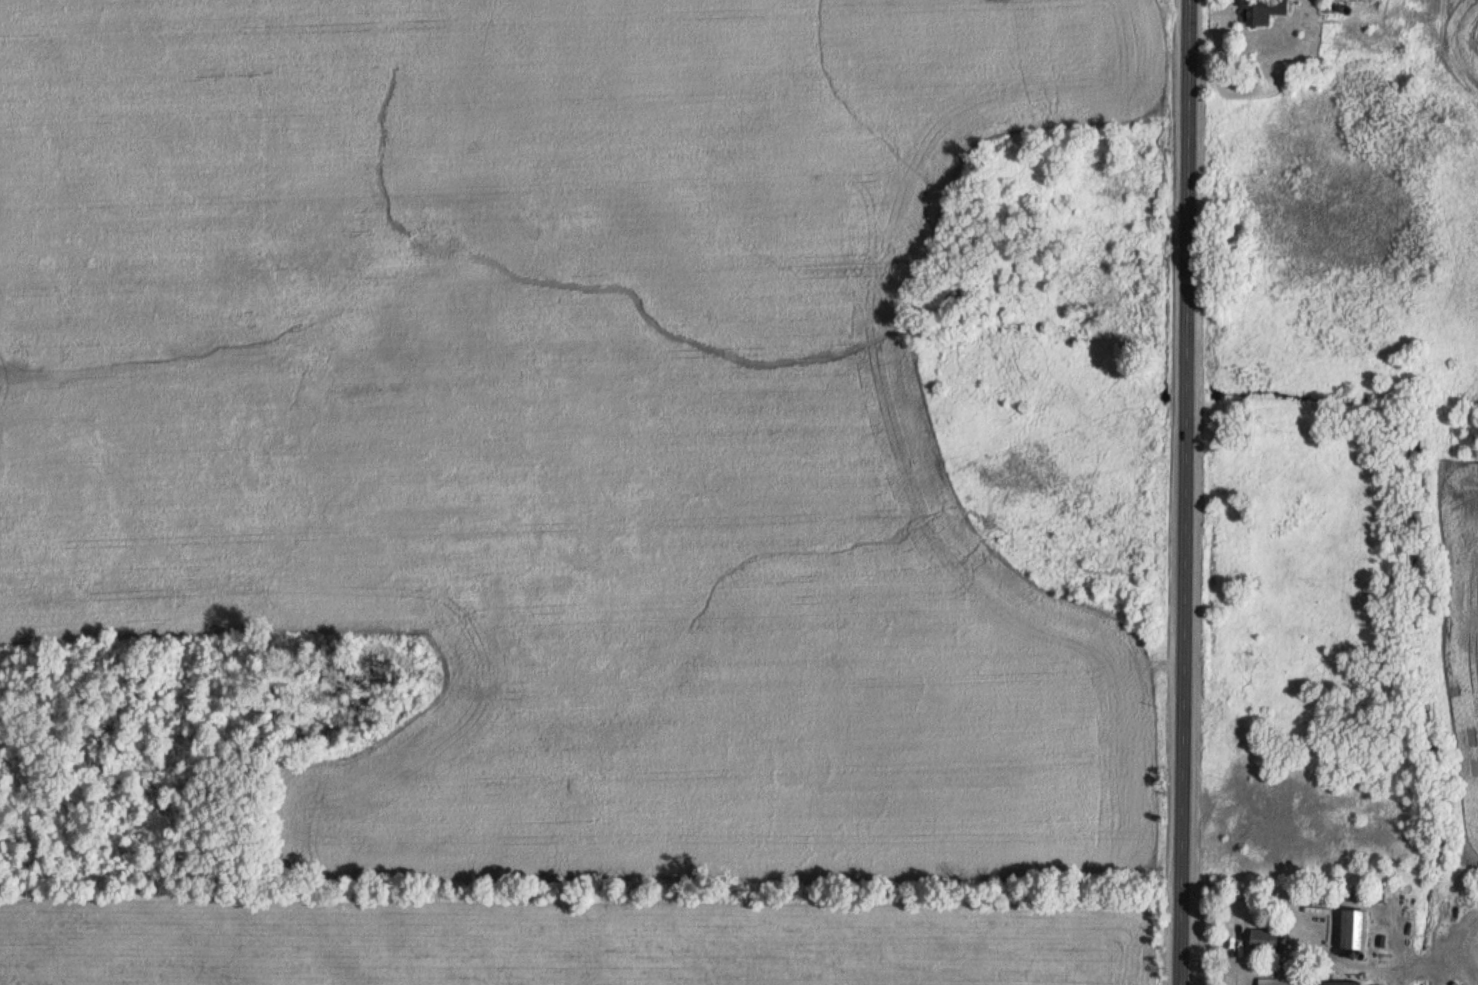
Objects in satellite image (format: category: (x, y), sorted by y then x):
building: (1262, 11)
road: (1183, 492)
building: (1353, 927)
building: (1265, 938)
road: (1238, 979)
building: (1286, 980)

